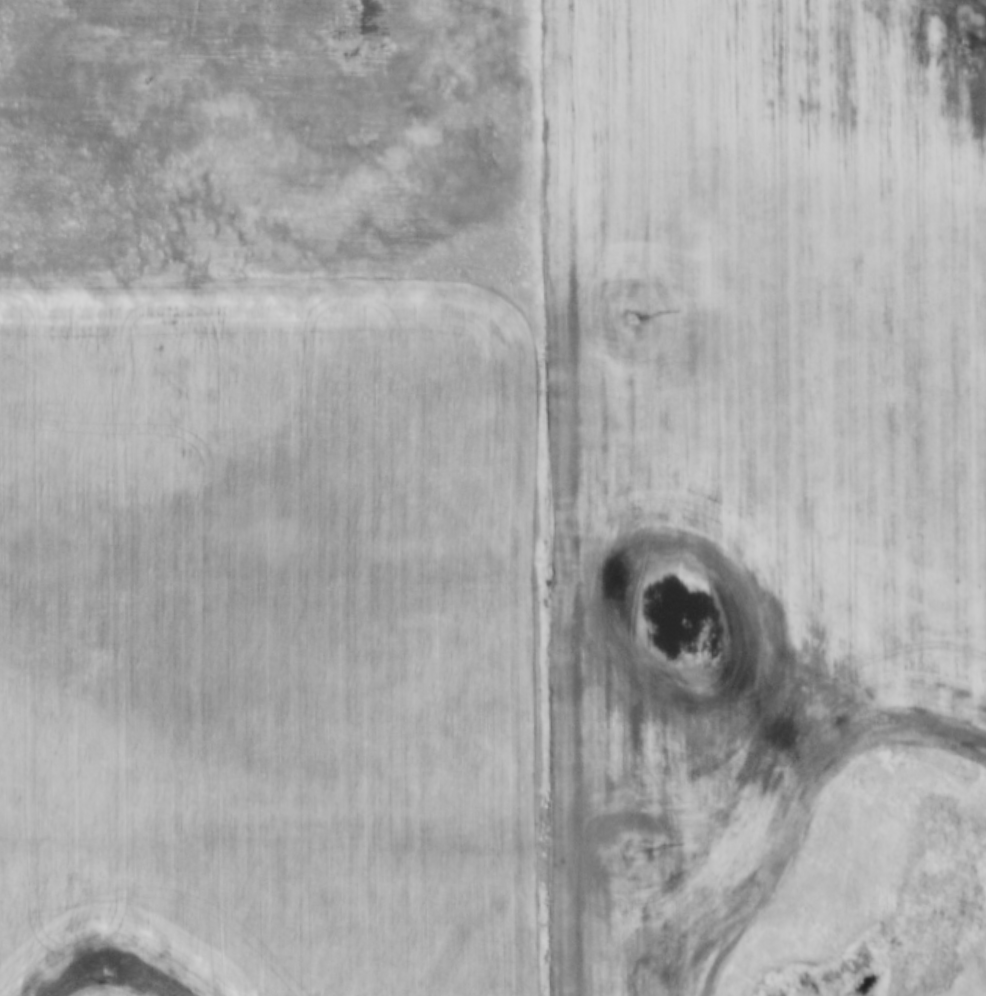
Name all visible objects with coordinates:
power tower: (632, 319)
power tower: (635, 850)

